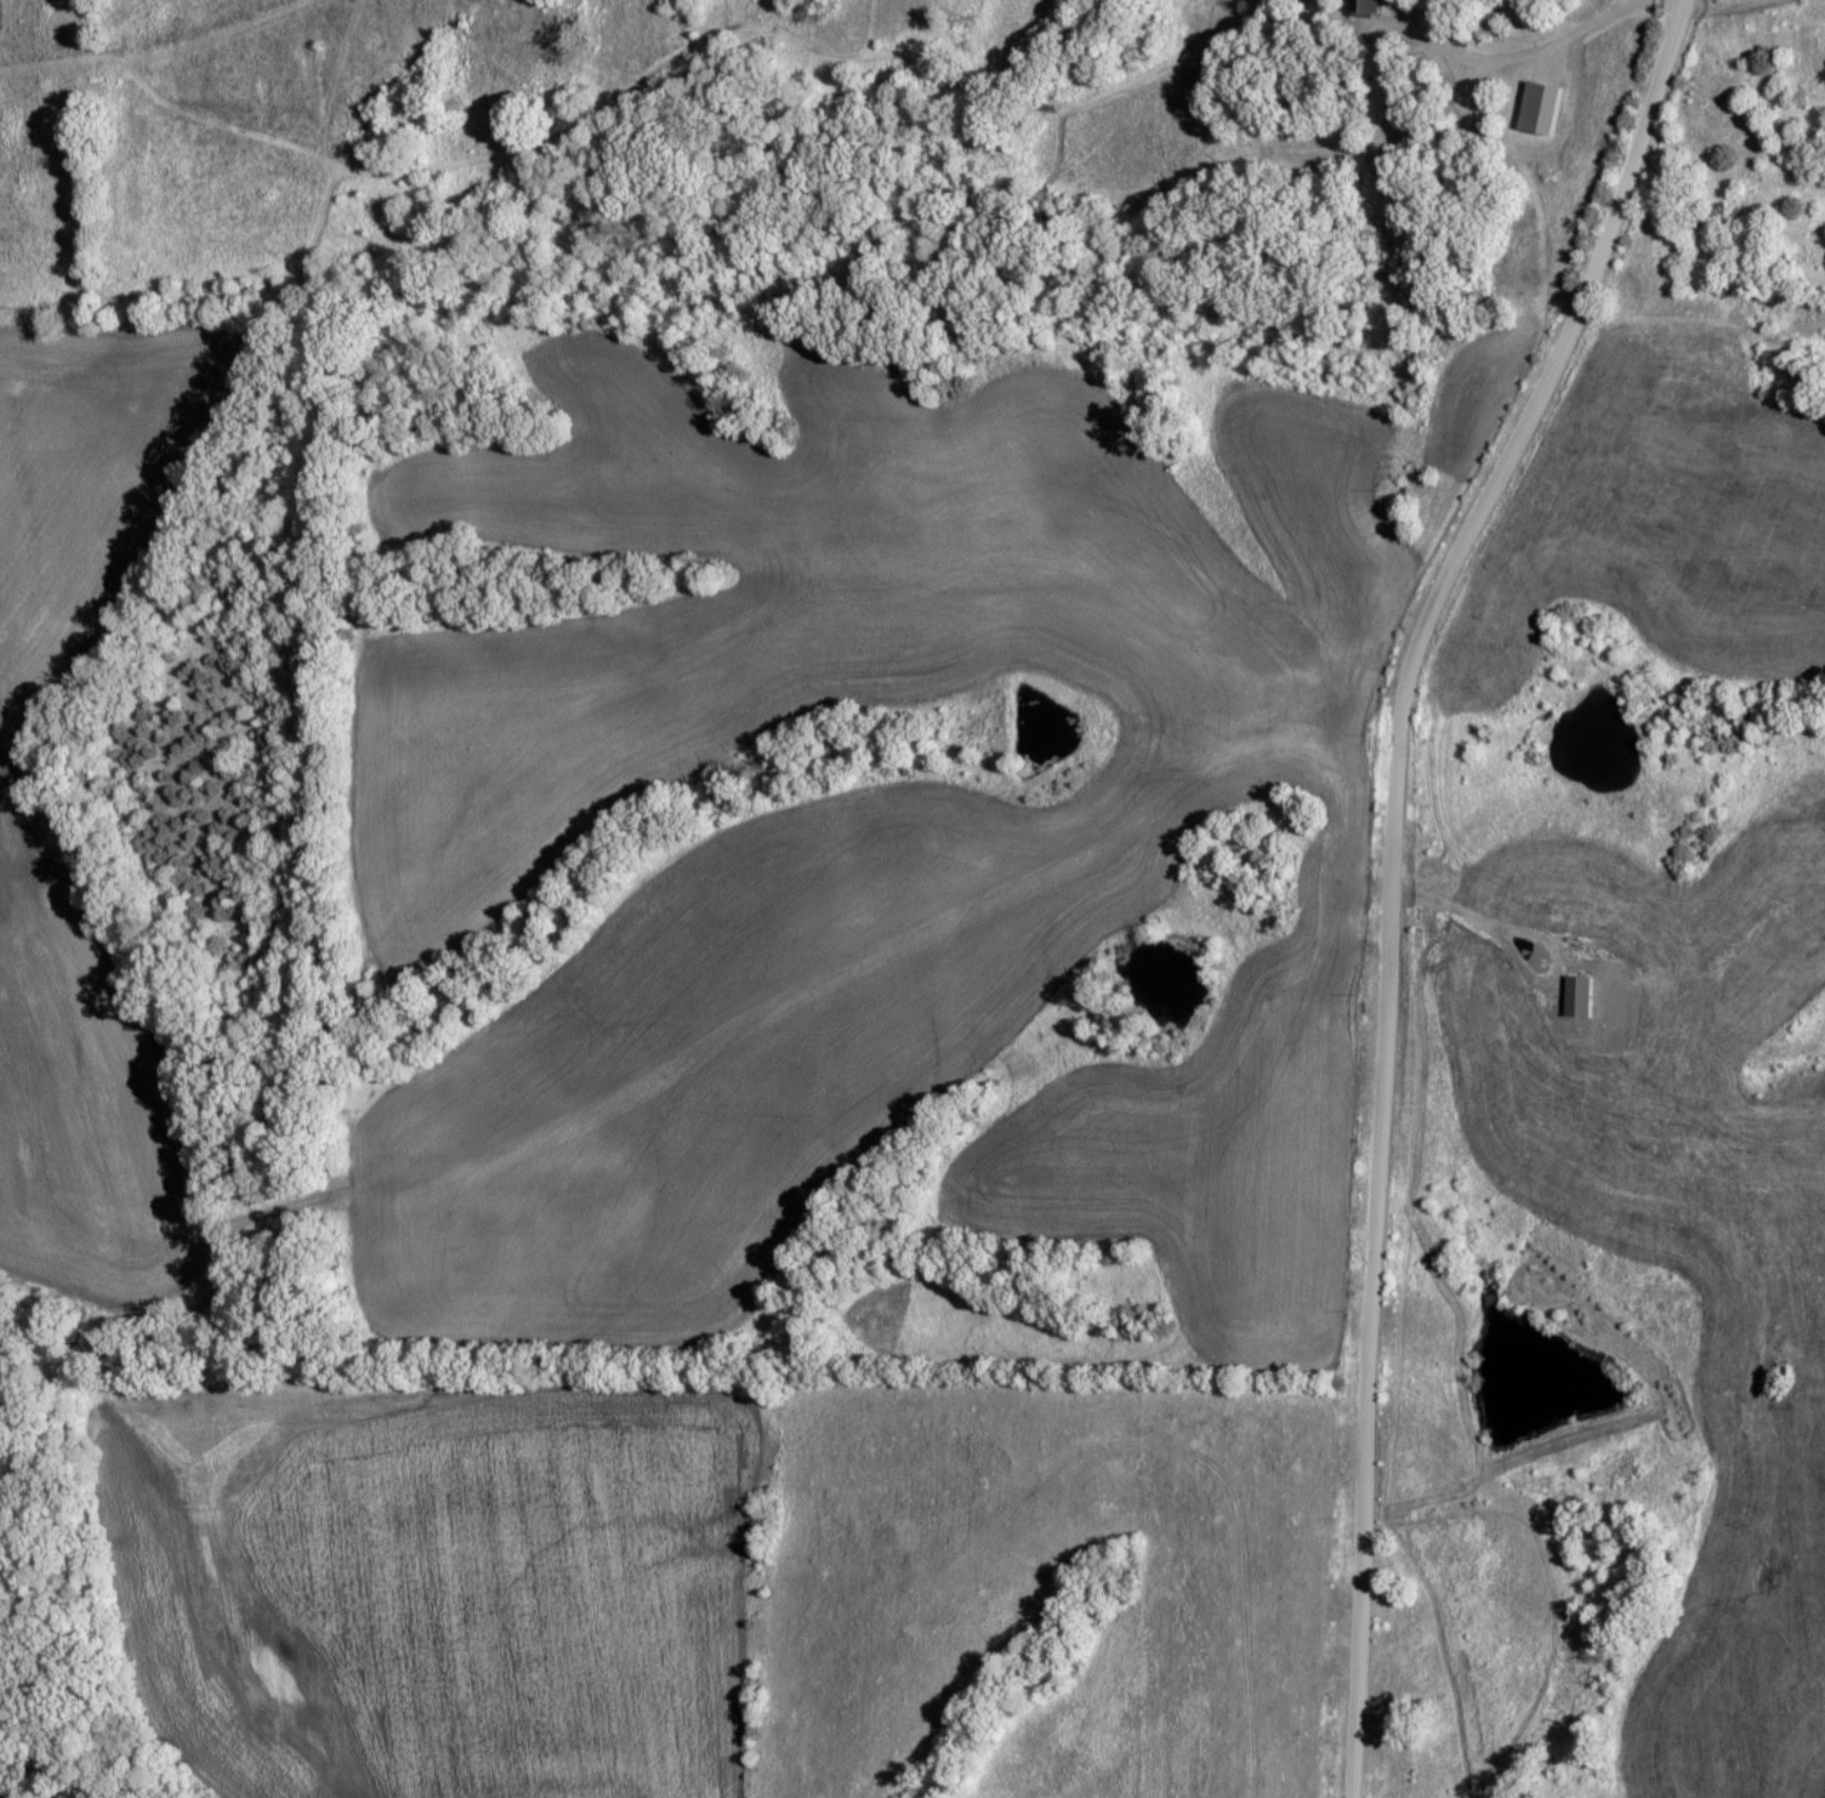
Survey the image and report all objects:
building: (1365, 7)
road: (1392, 870)

